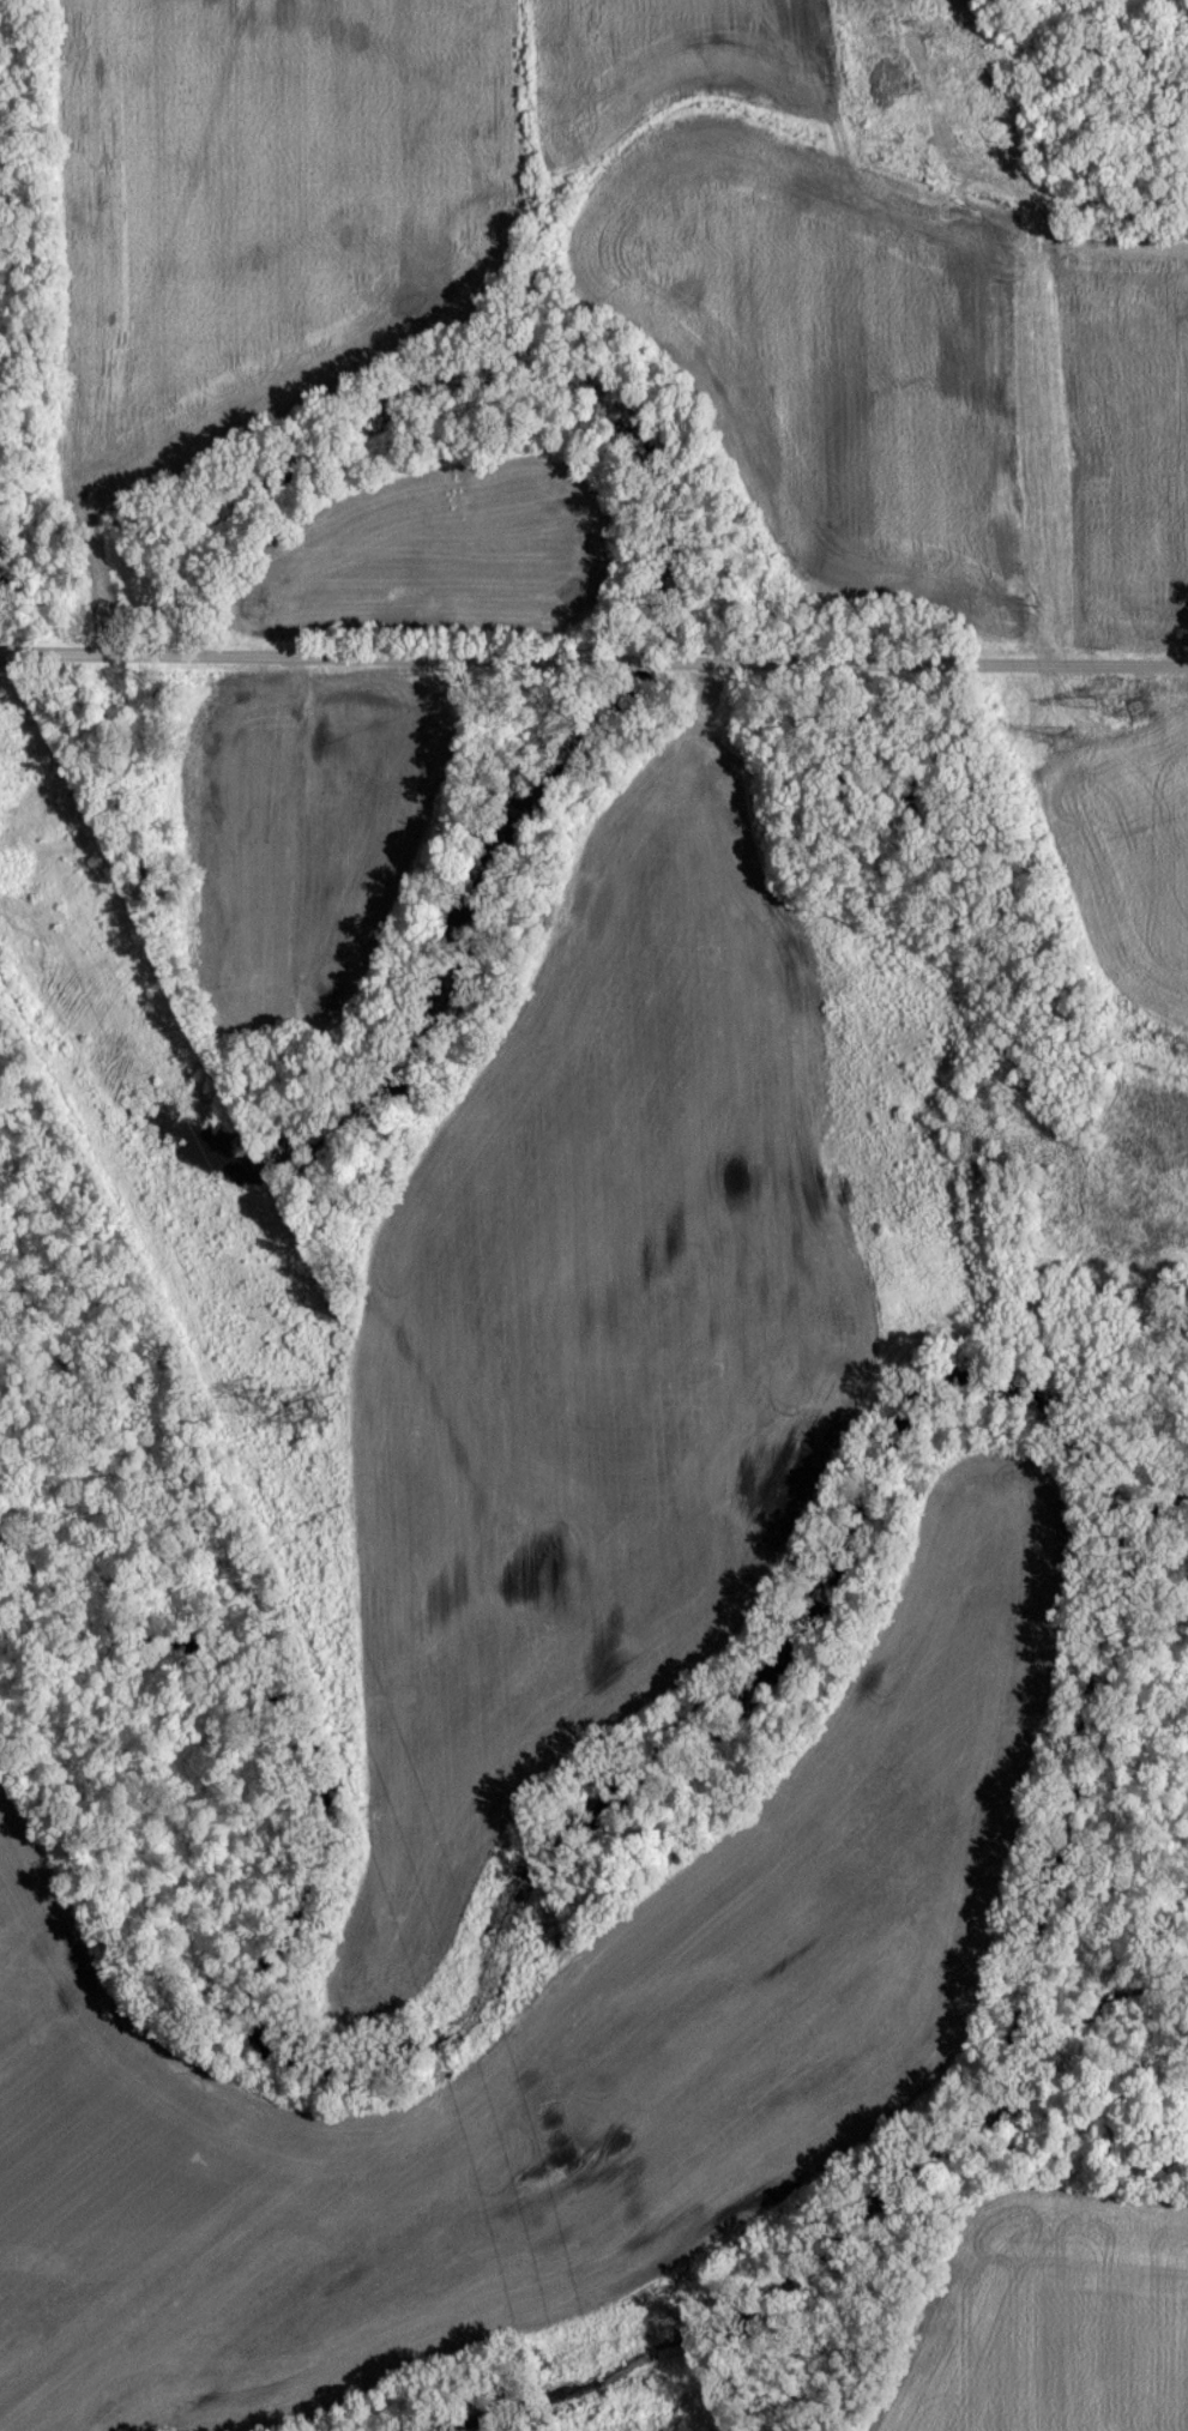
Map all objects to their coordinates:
road: (593, 656)
power tower: (1145, 720)
power tower: (1065, 747)
power tower: (309, 1419)

